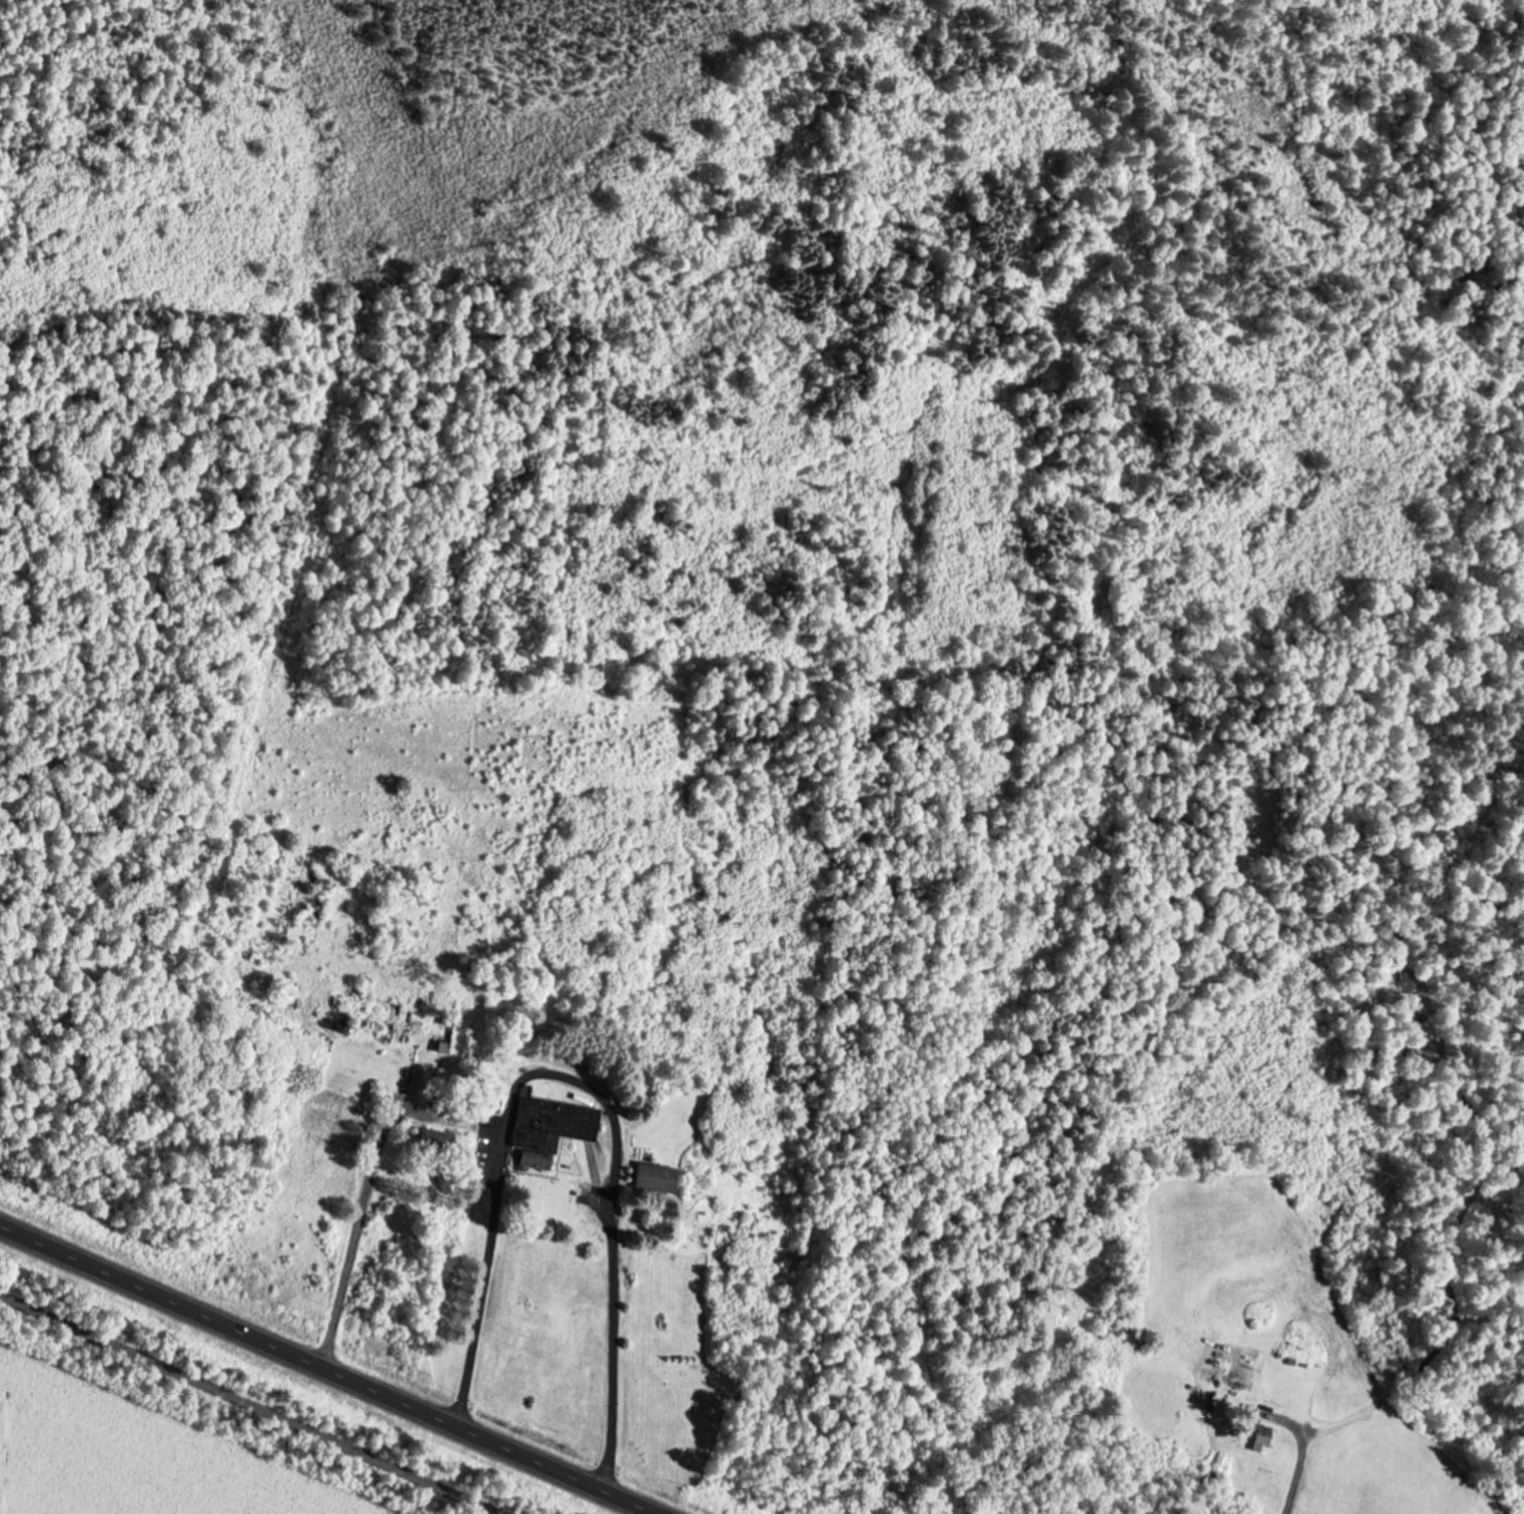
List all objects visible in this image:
building: (445, 1033)
building: (492, 1100)
building: (548, 1127)
building: (433, 1138)
building: (655, 1176)
road: (607, 1357)
road: (330, 1368)
road: (254, 1402)
building: (1261, 1438)

